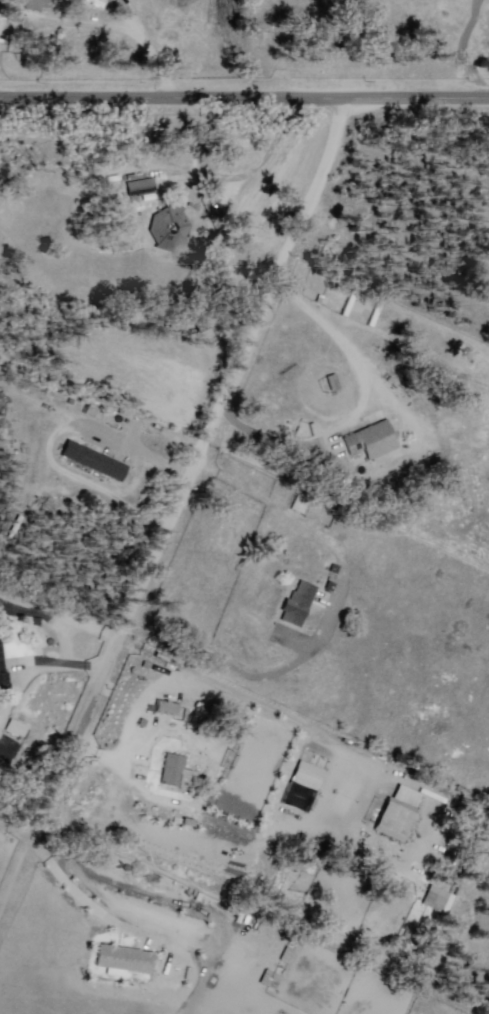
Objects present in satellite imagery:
building: (33, 4)
road: (122, 11)
road: (88, 26)
road: (470, 45)
road: (153, 57)
road: (244, 94)
road: (272, 156)
building: (141, 187)
building: (169, 227)
road: (274, 440)
building: (373, 441)
building: (95, 460)
building: (296, 503)
road: (181, 509)
building: (0, 604)
building: (298, 604)
storage tank: (49, 642)
road: (71, 665)
building: (3, 677)
building: (164, 710)
building: (16, 728)
building: (176, 773)
building: (306, 778)
building: (398, 812)
road: (19, 827)
storage tank: (120, 865)
storage tank: (129, 868)
building: (450, 892)
road: (83, 901)
building: (124, 959)

